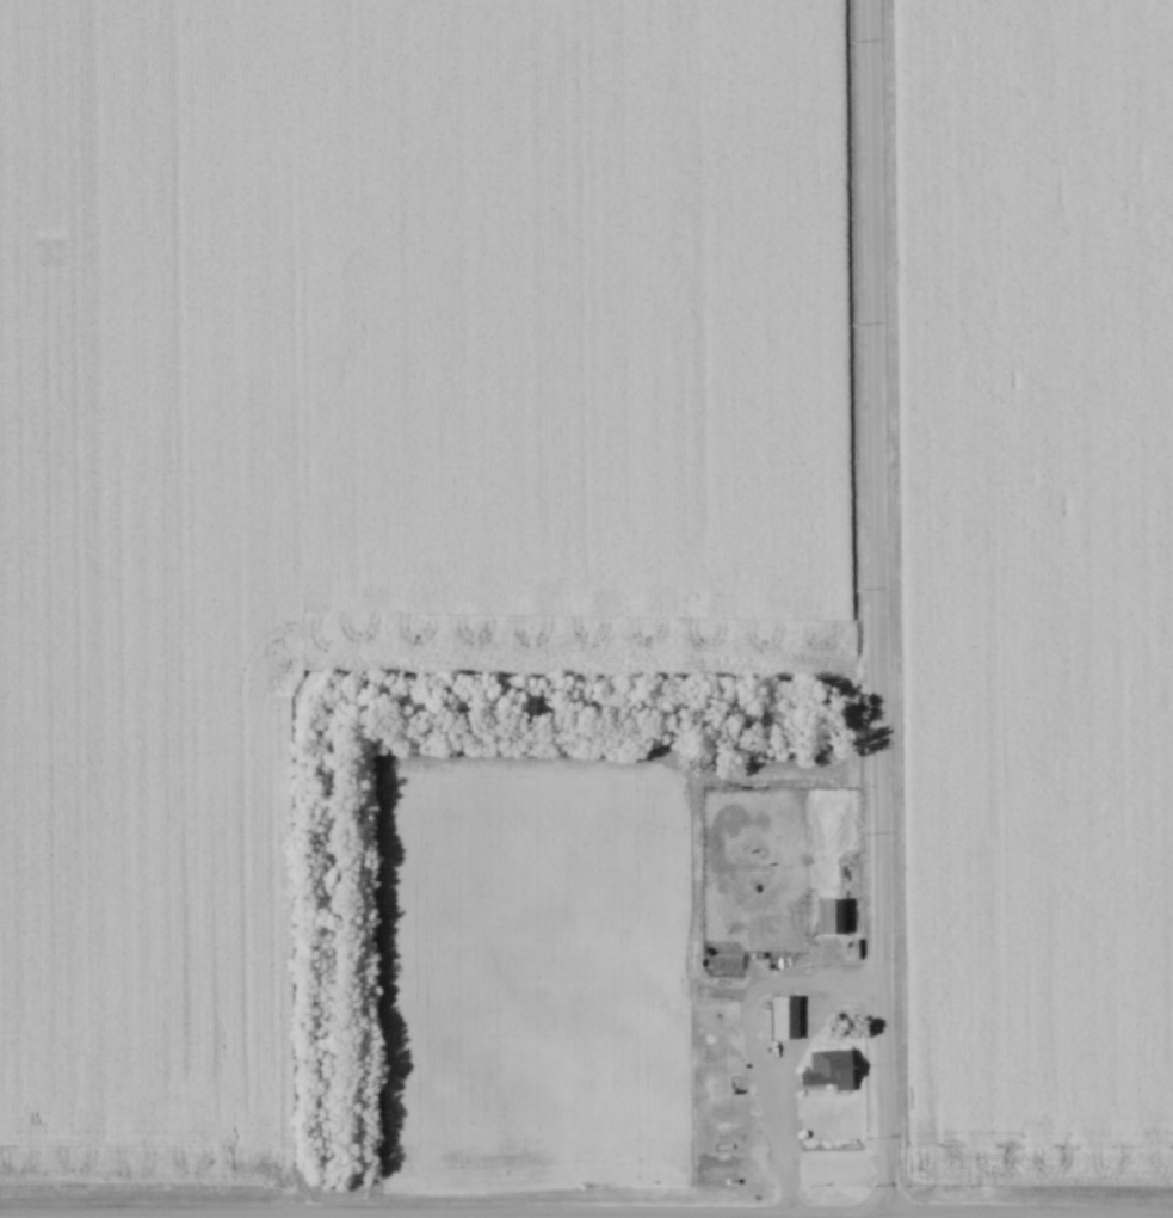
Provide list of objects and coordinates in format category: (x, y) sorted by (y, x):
road: (872, 609)
building: (831, 917)
building: (784, 1019)
building: (828, 1070)
road: (768, 1072)
road: (440, 1216)

